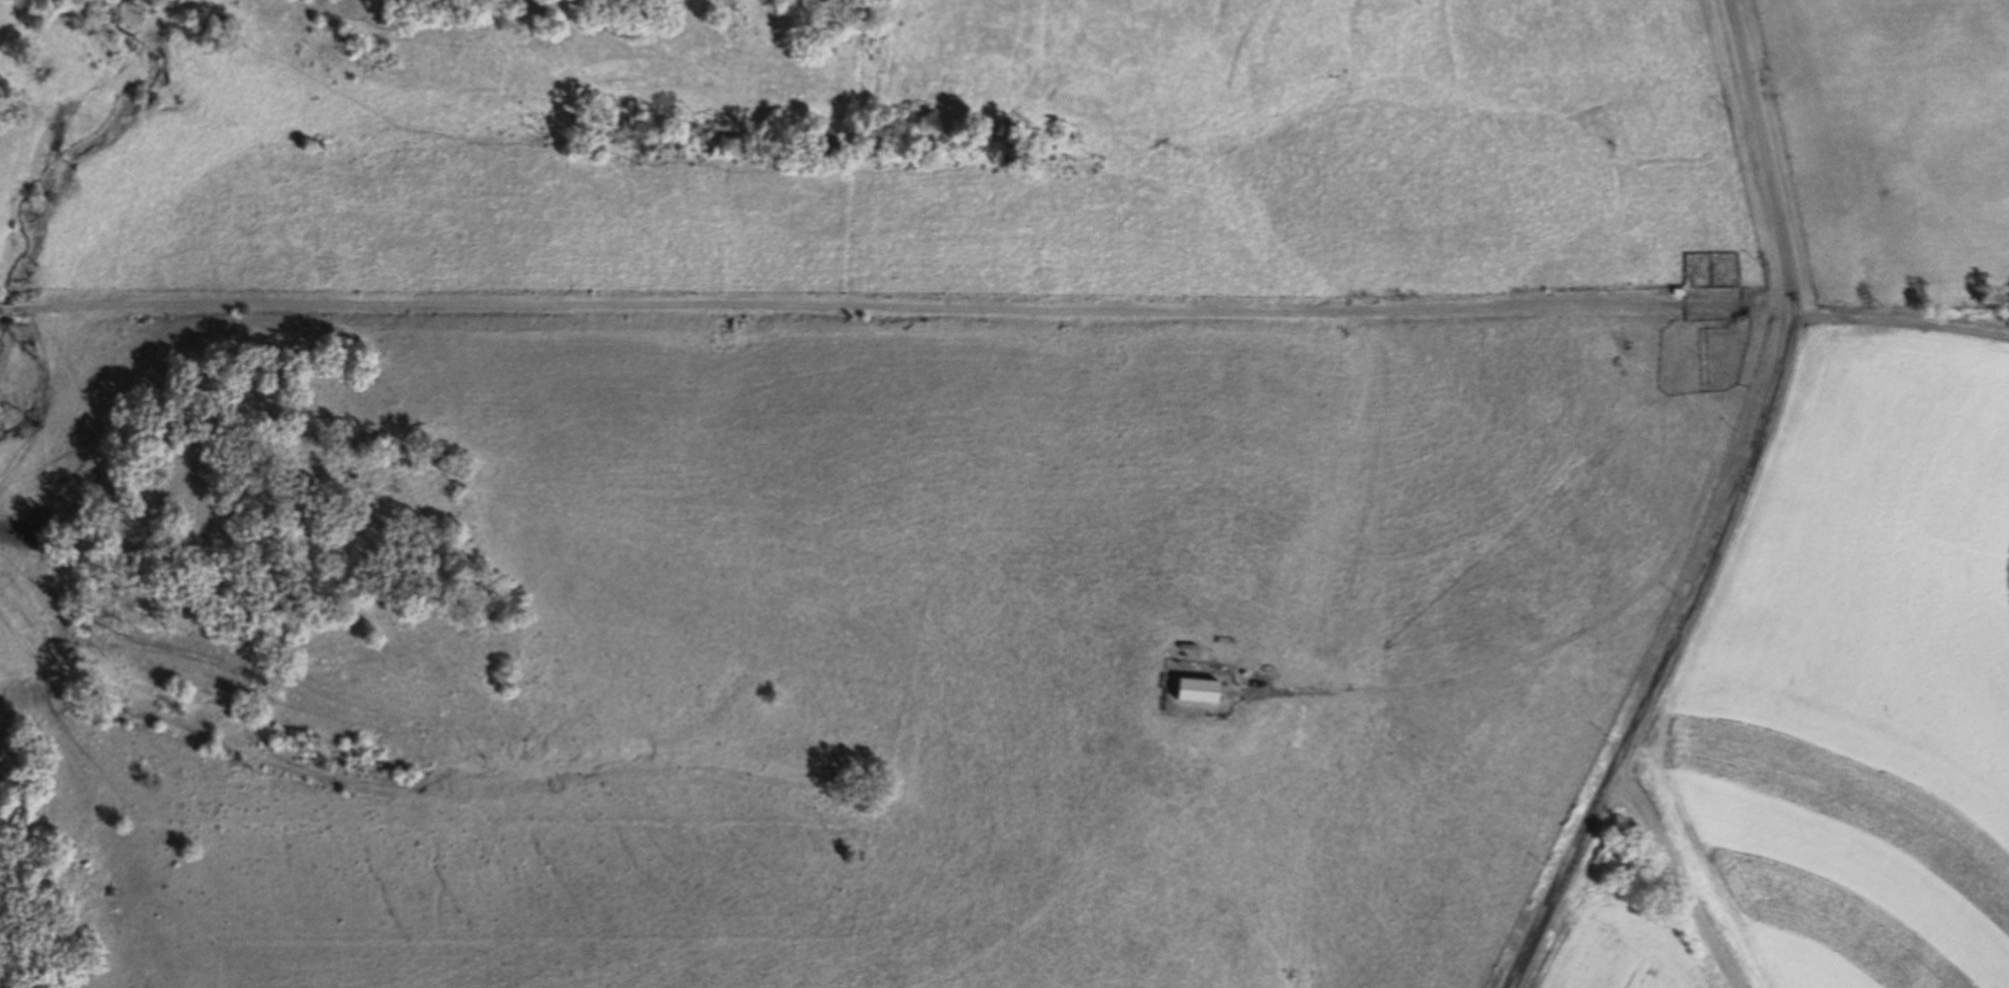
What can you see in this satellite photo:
road: (1725, 511)
road: (1707, 863)

